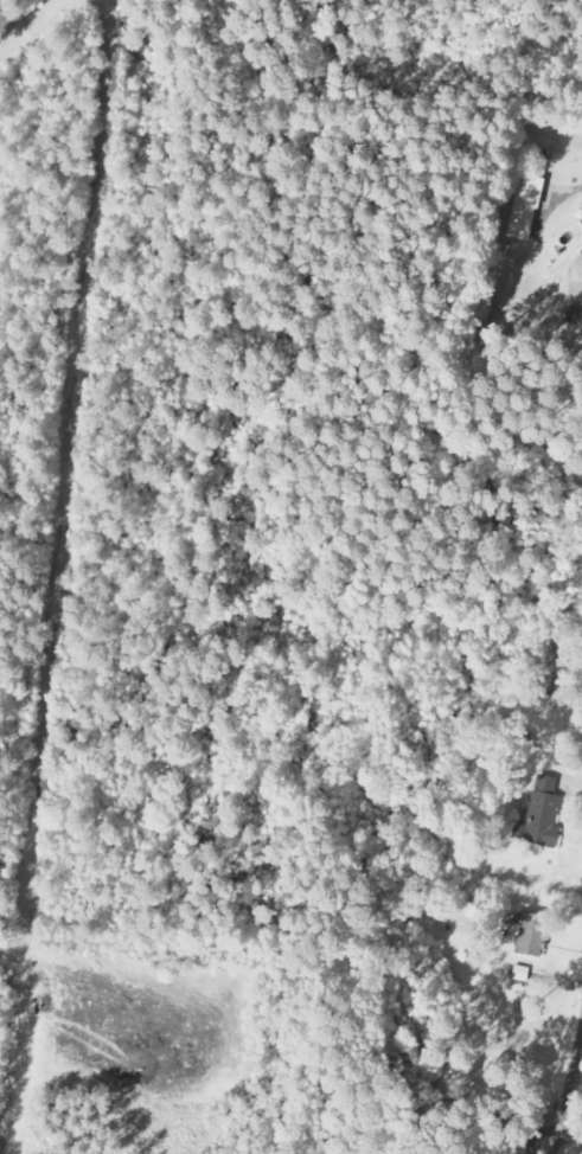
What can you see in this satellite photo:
road: (580, 1104)

